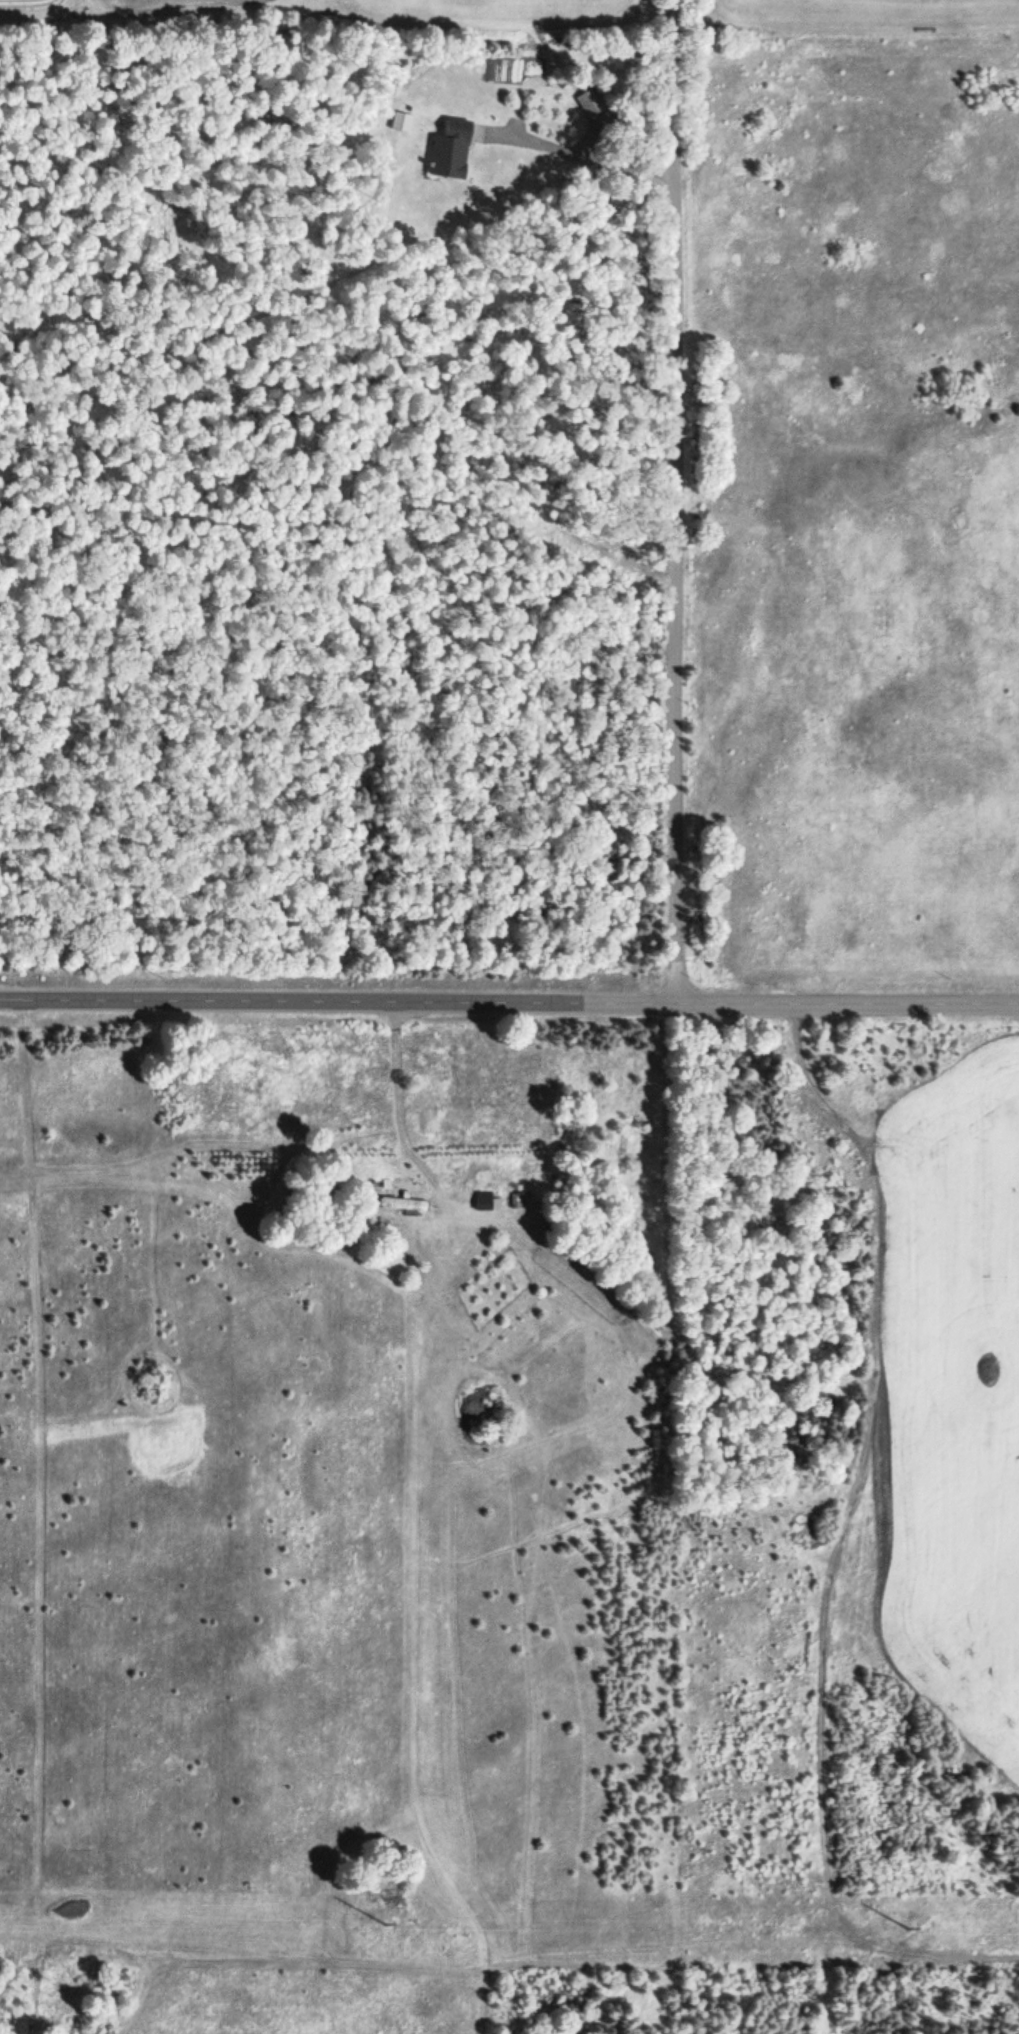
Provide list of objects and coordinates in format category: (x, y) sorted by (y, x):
building: (589, 104)
building: (402, 122)
building: (449, 150)
road: (677, 501)
road: (509, 1002)
building: (409, 1204)

